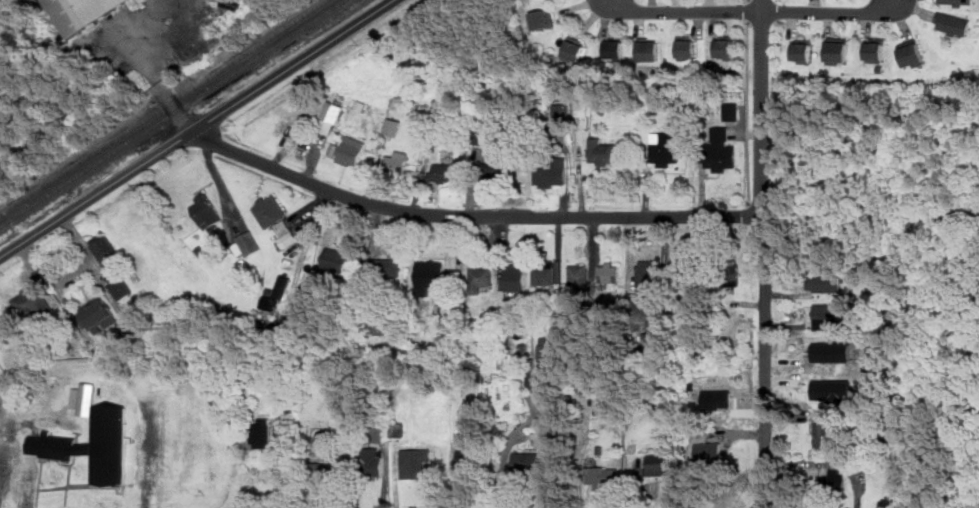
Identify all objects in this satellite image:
road: (751, 0)
building: (957, 3)
road: (751, 10)
building: (82, 12)
road: (753, 14)
building: (542, 19)
building: (954, 24)
building: (726, 46)
building: (613, 47)
building: (687, 48)
building: (573, 49)
building: (646, 49)
building: (804, 50)
building: (839, 50)
building: (877, 50)
building: (912, 53)
road: (336, 64)
road: (161, 81)
railway: (165, 110)
building: (731, 110)
building: (561, 111)
road: (750, 112)
railway: (173, 115)
building: (330, 118)
building: (393, 127)
road: (199, 128)
building: (666, 148)
building: (351, 149)
building: (720, 149)
building: (602, 152)
building: (396, 162)
building: (497, 169)
building: (447, 172)
building: (551, 173)
road: (751, 210)
building: (207, 212)
road: (472, 214)
building: (275, 218)
building: (249, 242)
building: (107, 250)
road: (764, 253)
building: (341, 260)
building: (384, 267)
building: (611, 271)
building: (431, 273)
building: (547, 273)
building: (686, 273)
building: (731, 274)
building: (648, 275)
building: (482, 276)
building: (580, 276)
building: (516, 278)
building: (825, 282)
building: (283, 284)
building: (121, 287)
building: (31, 301)
building: (99, 313)
building: (828, 316)
building: (650, 329)
building: (1, 334)
building: (0, 336)
building: (833, 352)
building: (543, 353)
building: (535, 381)
building: (586, 384)
building: (834, 389)
building: (717, 399)
building: (468, 416)
building: (262, 433)
building: (111, 434)
building: (824, 436)
building: (709, 453)
building: (465, 460)
building: (373, 461)
building: (414, 462)
building: (660, 463)
building: (532, 464)
building: (322, 477)
building: (602, 477)
building: (833, 480)

